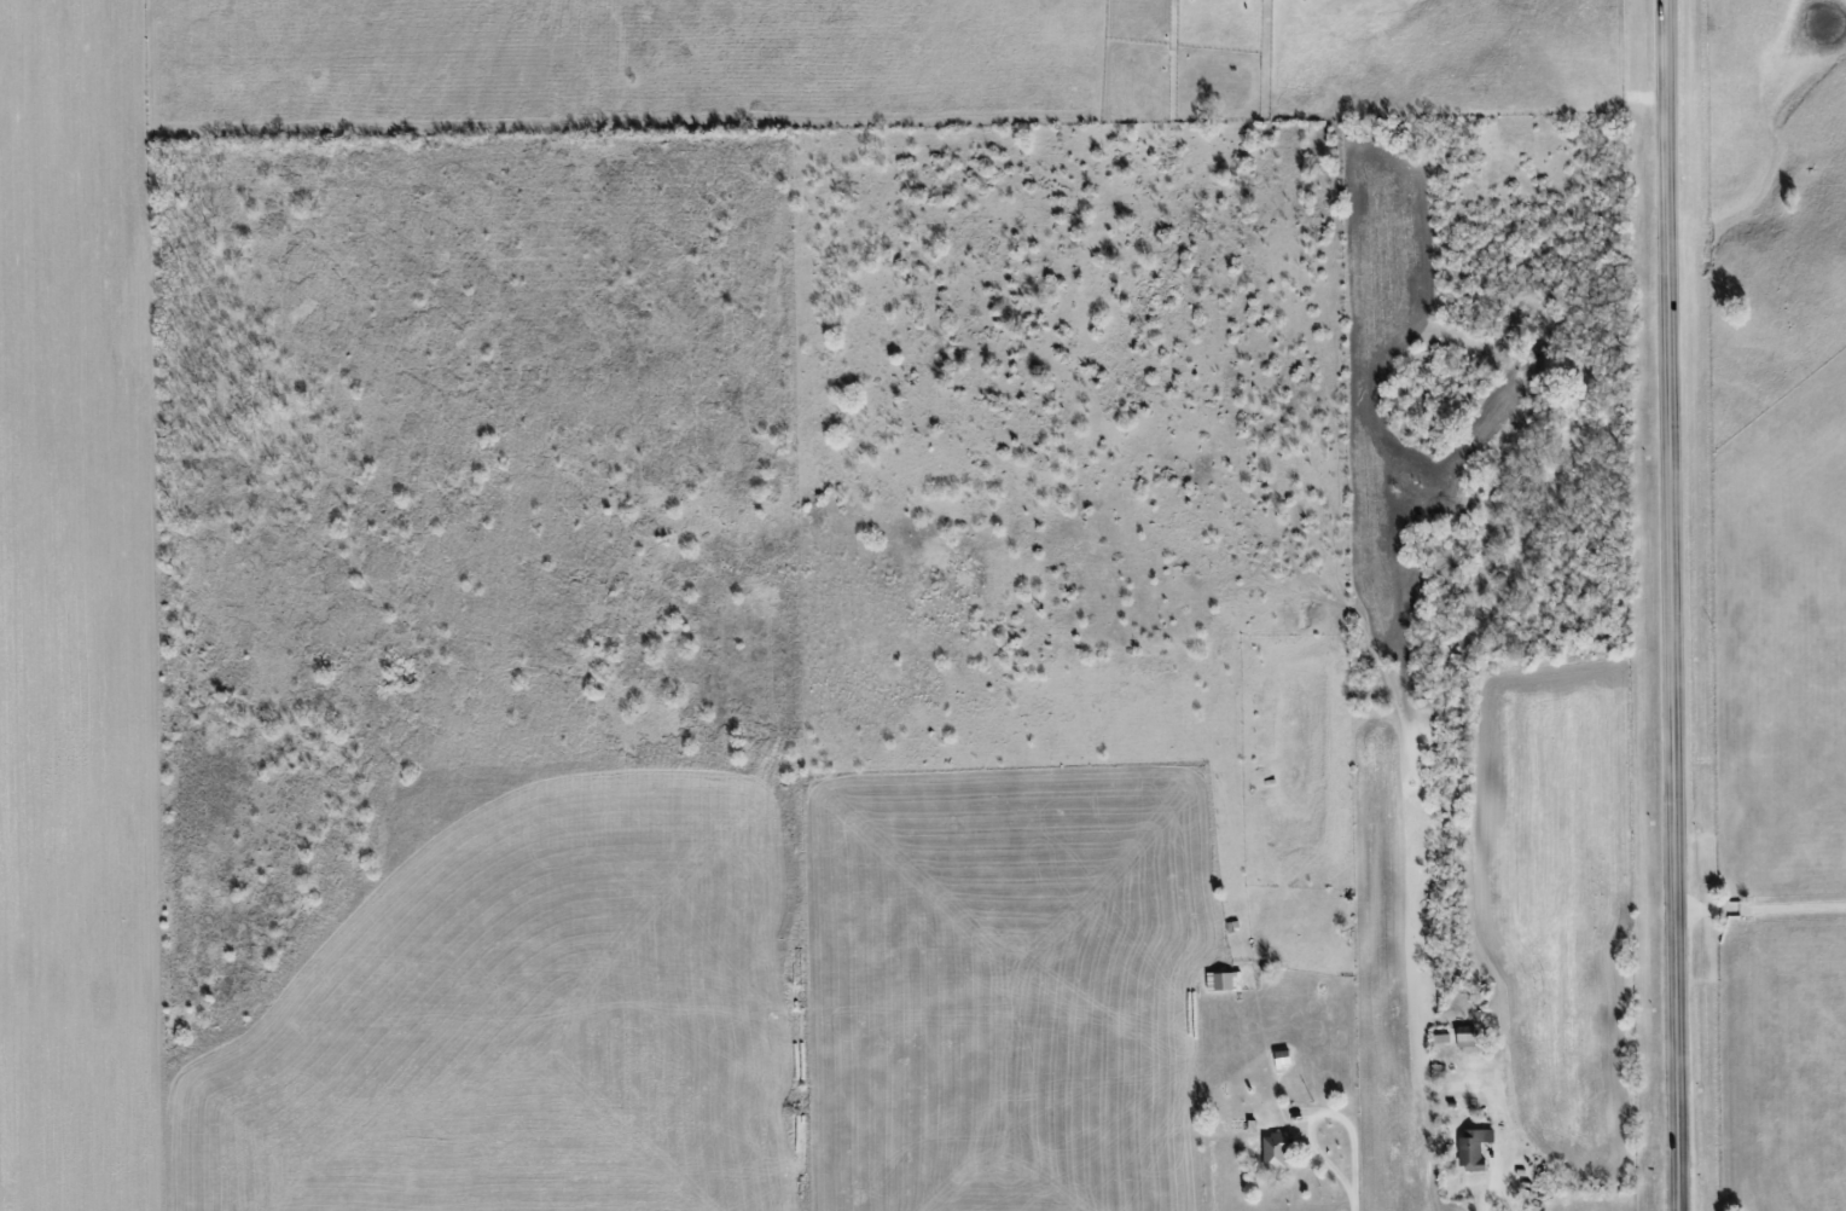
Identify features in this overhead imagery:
road: (1673, 604)
road: (1761, 910)
building: (1225, 980)
building: (1465, 1036)
building: (1283, 1058)
road: (1319, 1116)
building: (1474, 1148)
building: (1276, 1151)
road: (1490, 1181)
road: (1353, 1206)

